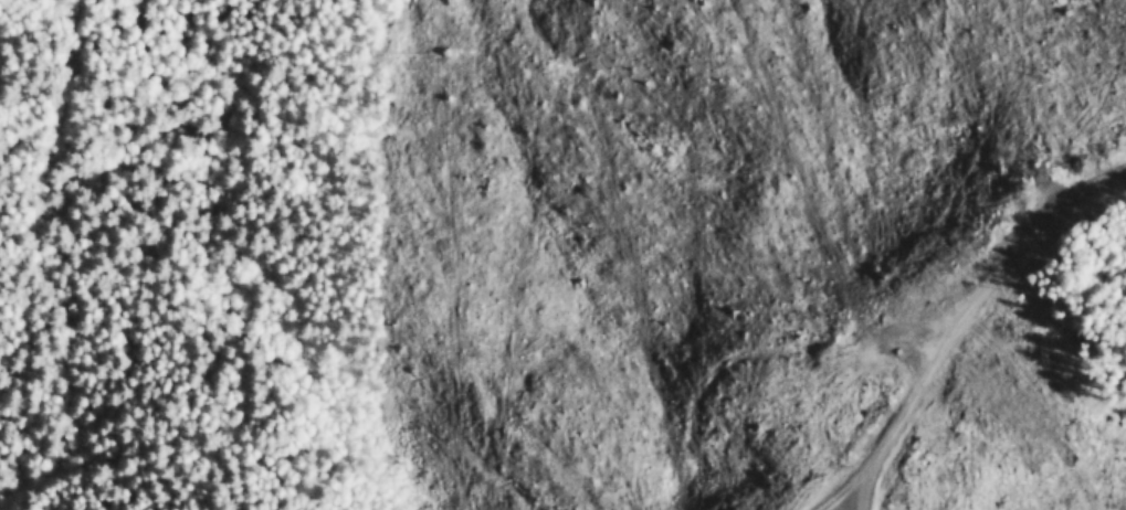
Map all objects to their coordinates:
road: (69, 136)
road: (801, 230)

